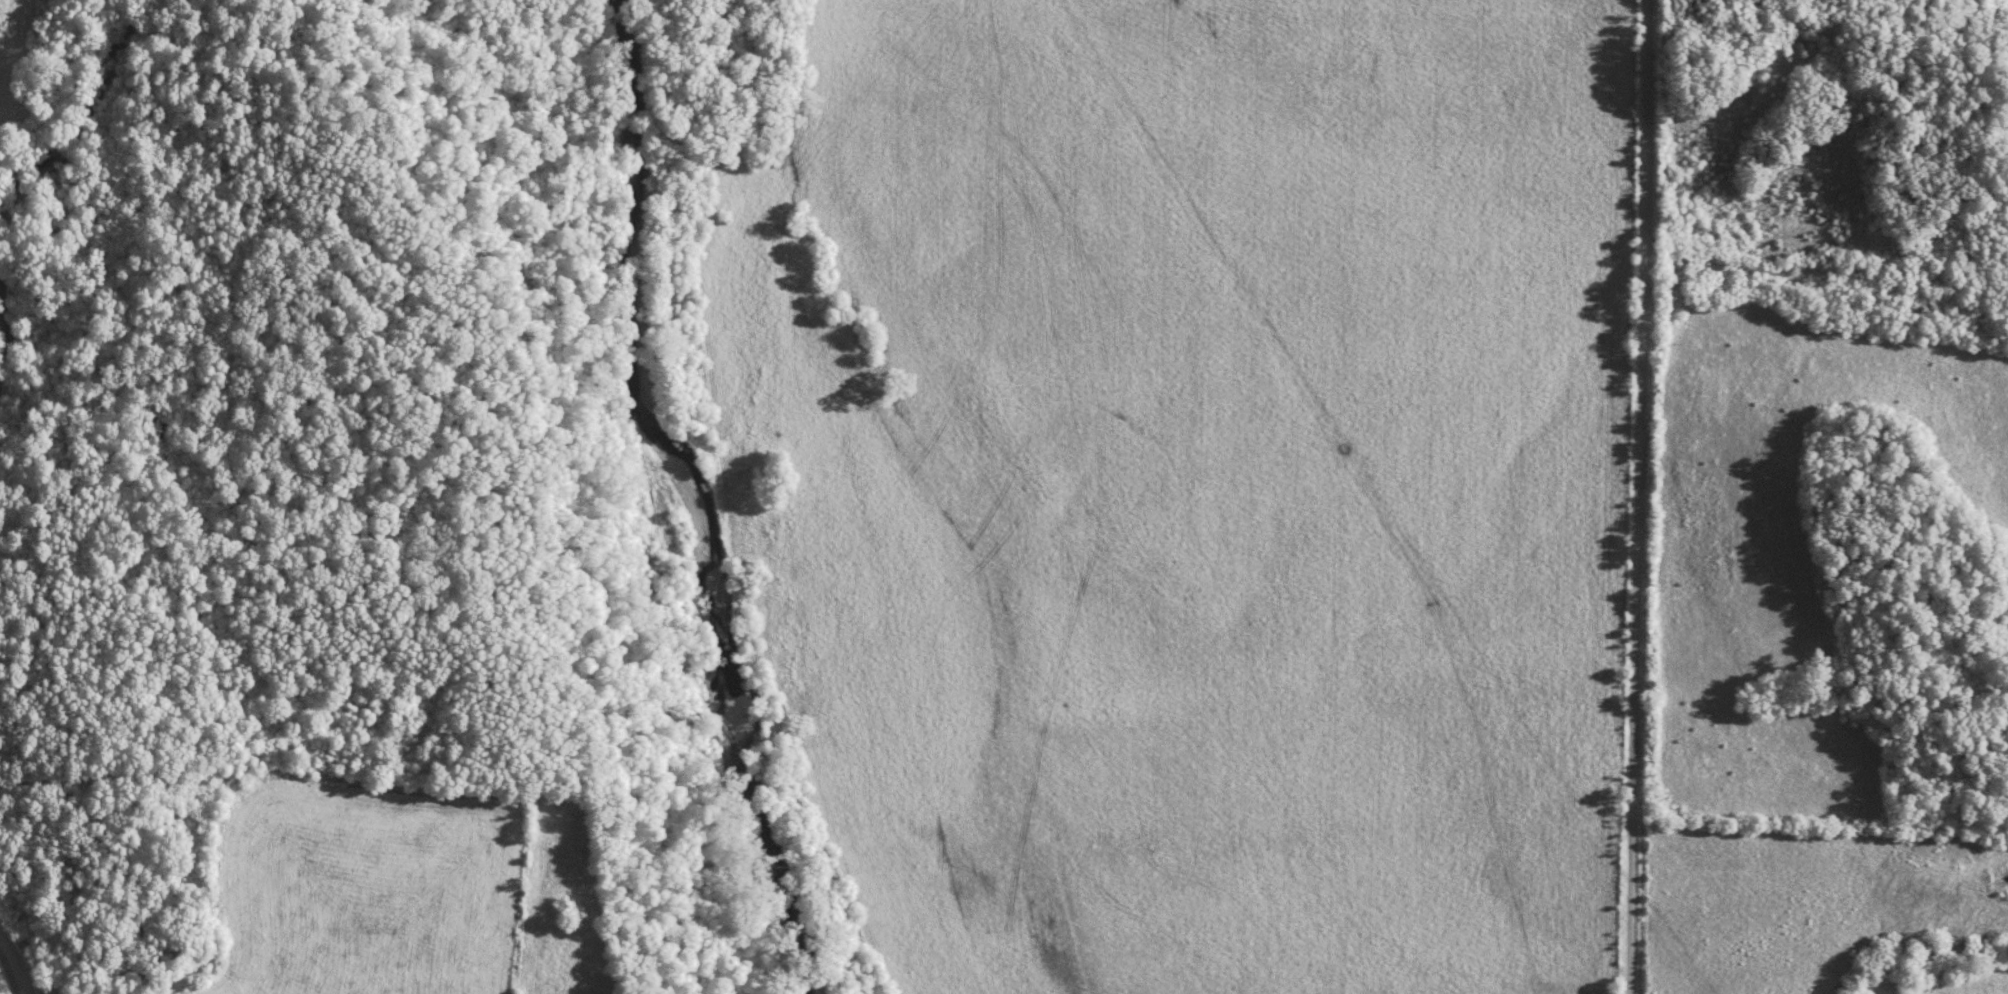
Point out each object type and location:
road: (1637, 496)
road: (16, 959)

